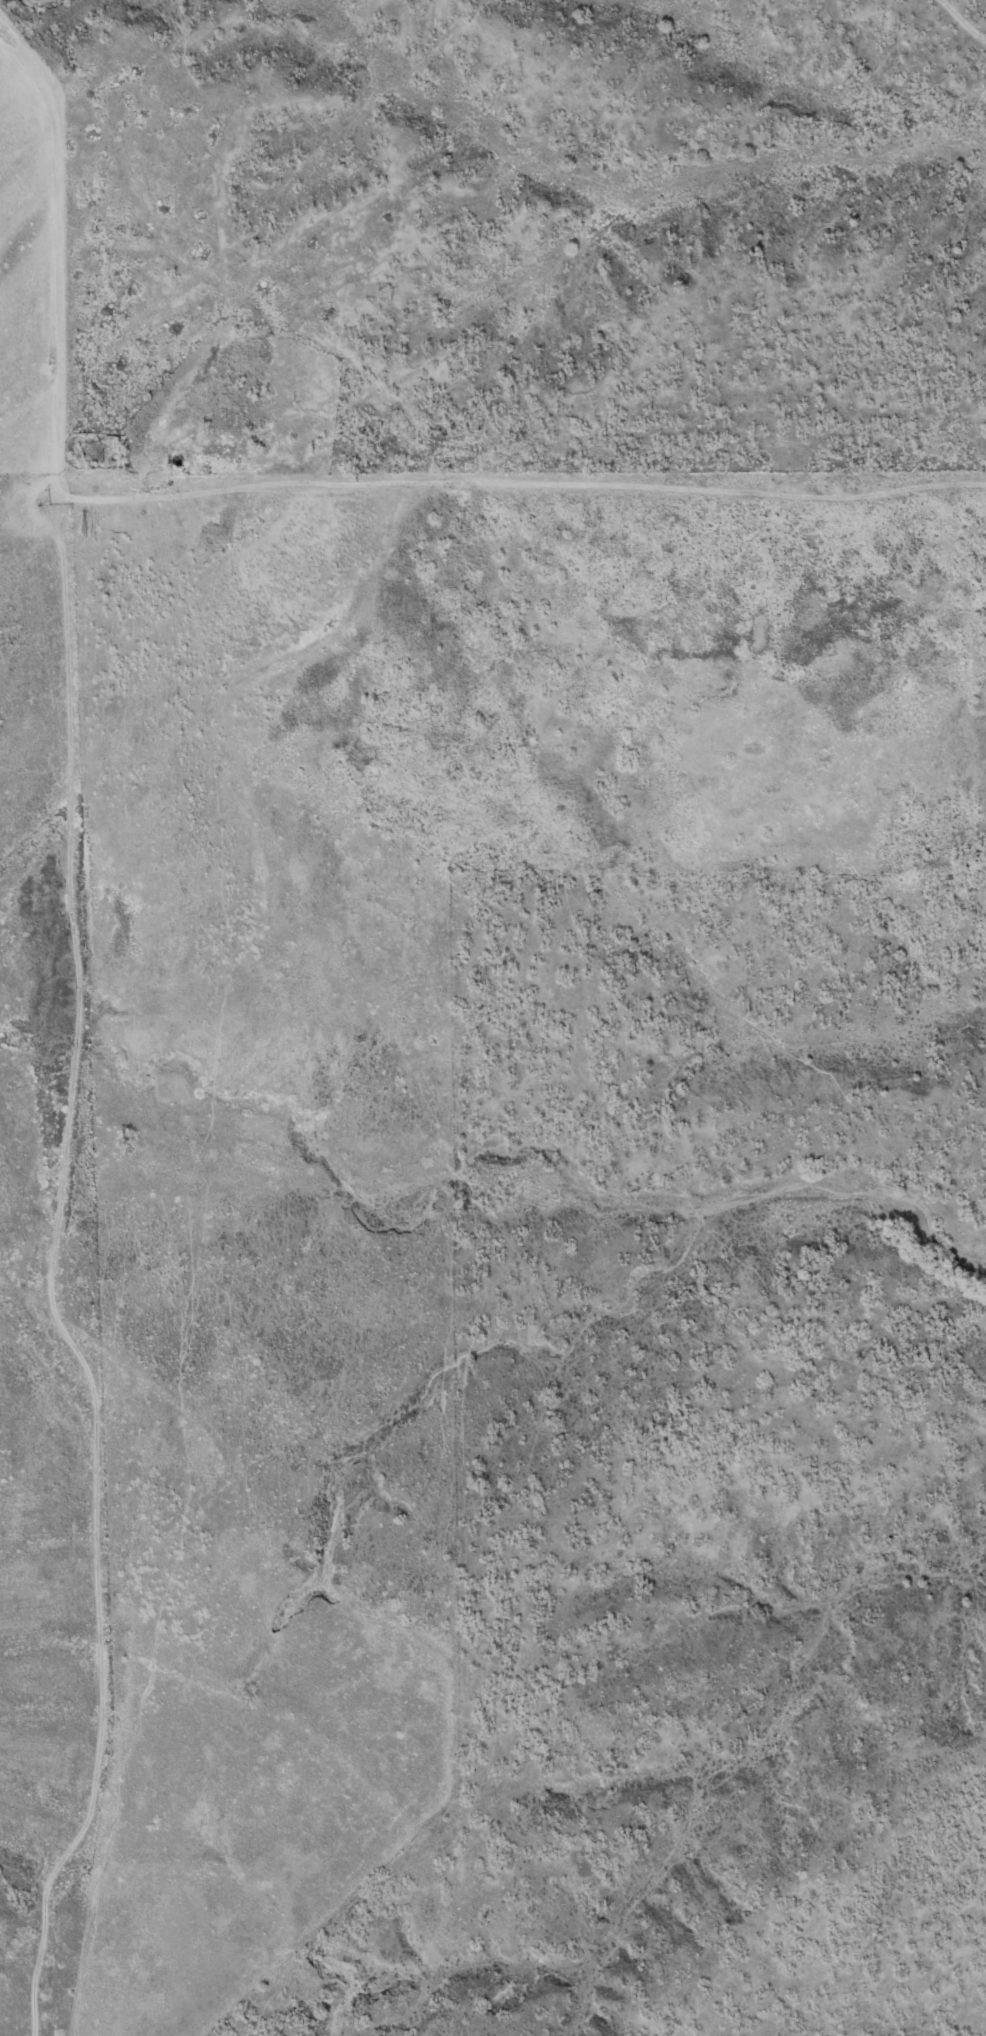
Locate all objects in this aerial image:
road: (56, 457)
road: (100, 1648)

